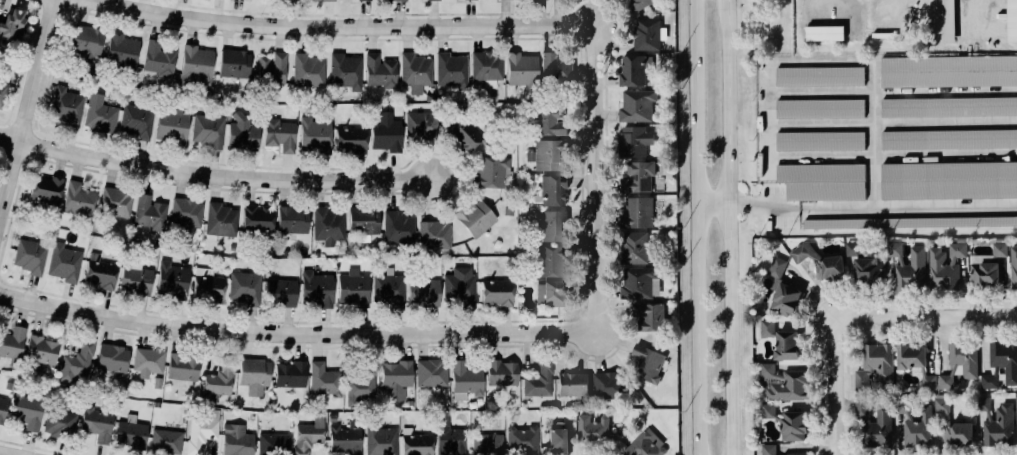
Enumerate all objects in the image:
road: (823, 1)
building: (641, 4)
road: (888, 8)
building: (1012, 20)
building: (948, 21)
building: (12, 24)
landfill: (902, 26)
road: (335, 28)
building: (823, 33)
building: (645, 34)
building: (87, 42)
building: (121, 52)
building: (157, 57)
road: (818, 60)
building: (232, 62)
building: (485, 64)
building: (195, 65)
building: (555, 67)
building: (271, 68)
building: (413, 68)
building: (449, 68)
building: (520, 68)
building: (307, 69)
building: (344, 70)
building: (379, 70)
building: (631, 71)
building: (949, 71)
building: (820, 76)
building: (2, 89)
road: (891, 89)
road: (26, 105)
building: (635, 105)
building: (66, 106)
building: (949, 107)
building: (820, 108)
building: (99, 114)
road: (765, 116)
building: (136, 120)
building: (548, 121)
road: (891, 122)
building: (172, 124)
building: (420, 125)
building: (207, 129)
road: (872, 129)
building: (384, 130)
building: (241, 132)
building: (277, 133)
building: (314, 134)
building: (462, 134)
building: (350, 138)
building: (949, 139)
building: (633, 141)
building: (820, 141)
building: (545, 154)
road: (891, 155)
building: (490, 172)
building: (637, 176)
road: (212, 178)
building: (949, 180)
building: (823, 181)
road: (591, 182)
building: (45, 188)
building: (552, 189)
building: (77, 198)
building: (115, 202)
road: (729, 203)
road: (888, 204)
building: (184, 211)
building: (148, 212)
building: (636, 213)
building: (473, 216)
building: (257, 218)
building: (219, 219)
building: (291, 219)
building: (364, 220)
building: (910, 222)
building: (327, 225)
building: (550, 225)
building: (397, 227)
road: (697, 227)
road: (731, 227)
building: (433, 233)
building: (634, 247)
building: (855, 248)
building: (999, 249)
building: (895, 250)
building: (957, 250)
building: (28, 255)
building: (548, 260)
building: (64, 261)
building: (820, 262)
building: (777, 267)
building: (1013, 267)
building: (869, 270)
building: (912, 271)
building: (942, 271)
building: (100, 272)
building: (985, 275)
building: (170, 277)
road: (0, 278)
building: (136, 280)
building: (637, 282)
building: (207, 285)
building: (460, 285)
building: (245, 286)
building: (315, 286)
building: (352, 287)
building: (389, 288)
road: (834, 289)
building: (496, 291)
building: (280, 292)
building: (424, 292)
building: (551, 292)
building: (786, 299)
road: (3, 308)
road: (927, 314)
building: (649, 316)
building: (767, 327)
road: (871, 328)
road: (294, 335)
building: (12, 343)
building: (787, 345)
building: (42, 349)
building: (110, 356)
street lamp: (825, 358)
building: (964, 358)
building: (147, 359)
building: (75, 361)
building: (646, 362)
building: (916, 363)
building: (1001, 364)
building: (875, 366)
building: (183, 367)
building: (499, 371)
building: (431, 372)
building: (253, 374)
building: (289, 374)
building: (395, 377)
building: (464, 377)
building: (219, 380)
building: (322, 381)
building: (539, 381)
building: (945, 381)
building: (362, 382)
building: (571, 383)
building: (607, 384)
building: (784, 384)
road: (833, 386)
building: (1016, 402)
building: (941, 405)
building: (903, 407)
building: (3, 408)
building: (768, 410)
building: (26, 411)
building: (883, 420)
building: (60, 422)
building: (96, 422)
building: (997, 422)
building: (794, 426)
building: (590, 428)
building: (919, 429)
building: (130, 432)
building: (198, 433)
building: (958, 433)
building: (309, 435)
building: (521, 437)
building: (343, 439)
building: (236, 440)
building: (380, 440)
building: (558, 440)
building: (166, 441)
building: (450, 441)
building: (414, 442)
building: (486, 443)
building: (273, 444)
building: (646, 445)
road: (40, 448)
building: (773, 450)
road: (600, 452)
road: (4, 453)

